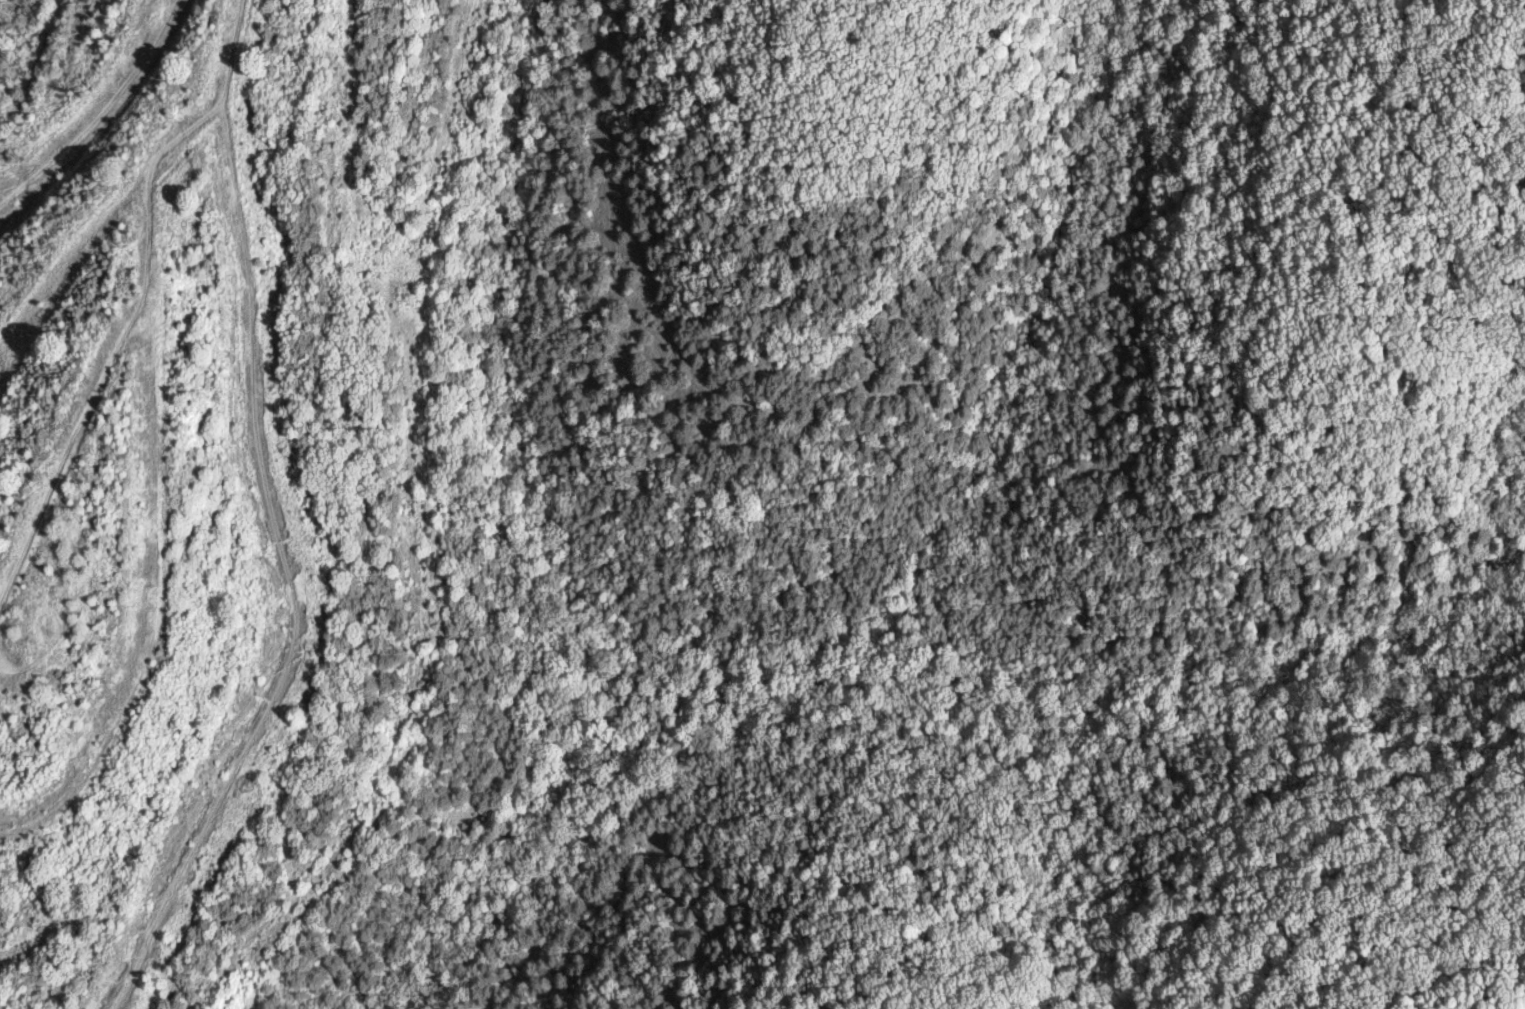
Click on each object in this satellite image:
road: (97, 113)
road: (115, 334)
road: (271, 524)
road: (14, 669)

